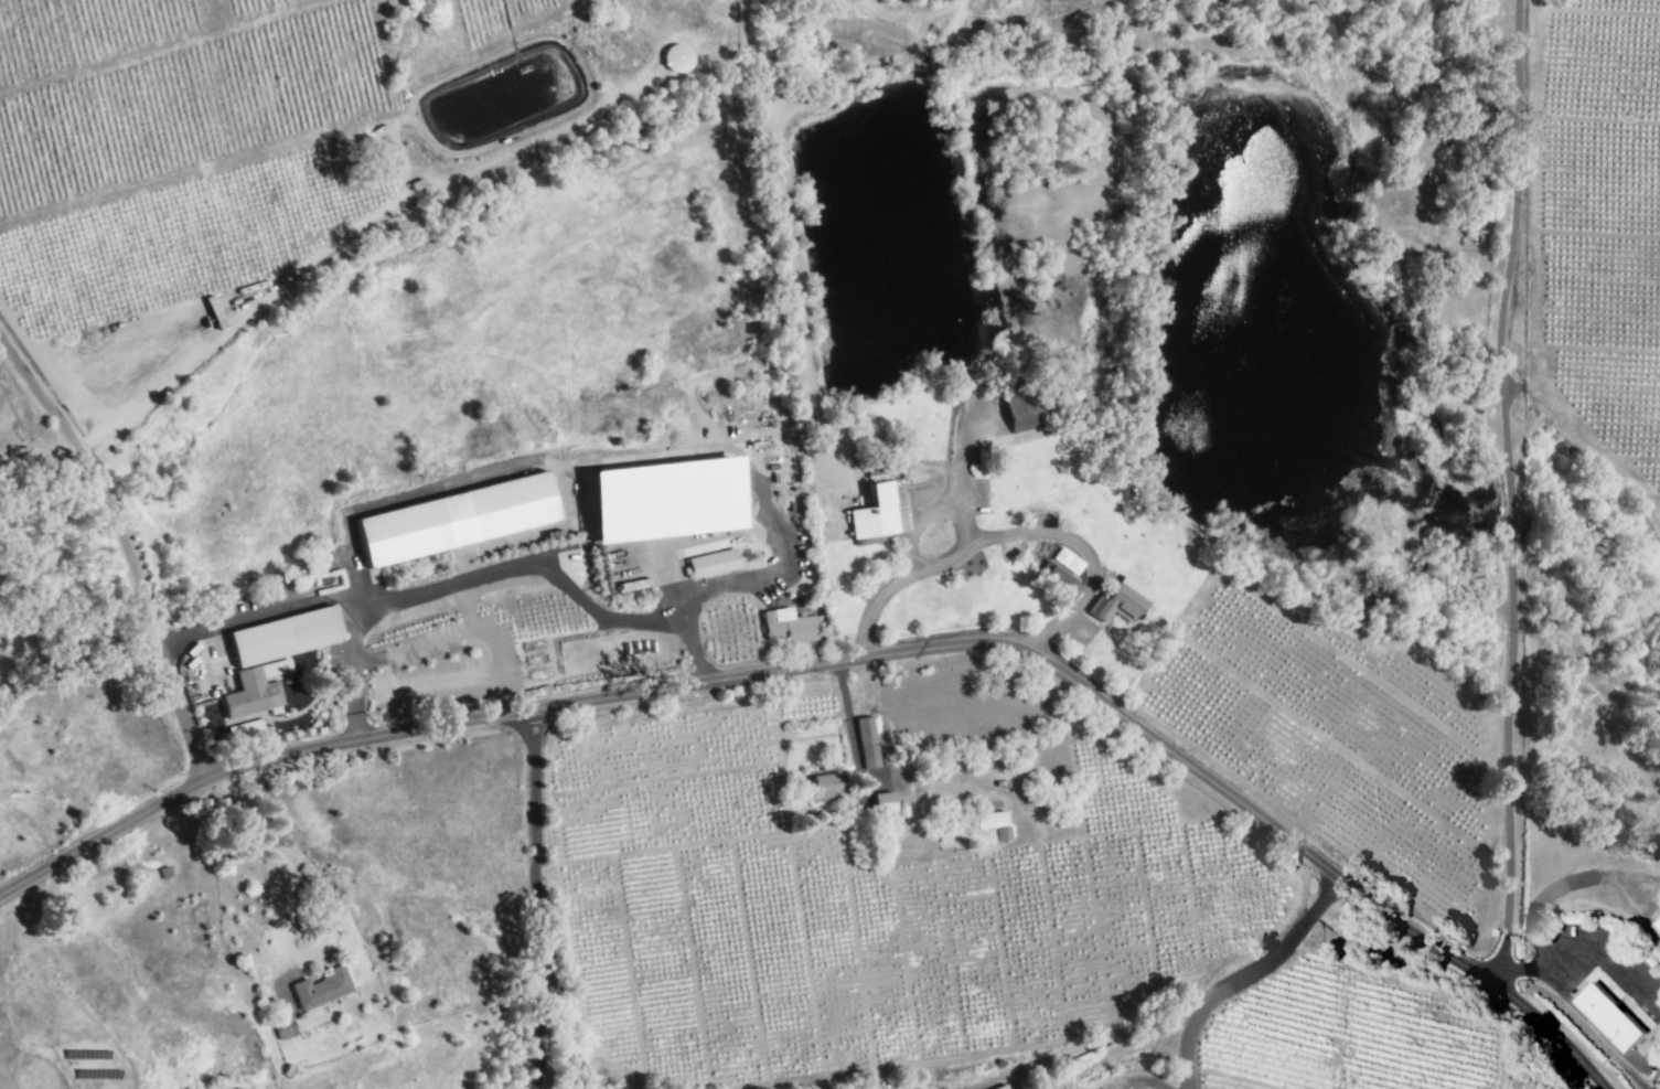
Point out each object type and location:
building: (1022, 409)
road: (1507, 487)
building: (665, 498)
road: (396, 501)
building: (874, 513)
building: (454, 519)
road: (125, 549)
building: (711, 563)
road: (780, 572)
building: (1062, 573)
road: (459, 577)
building: (1120, 601)
road: (465, 608)
building: (788, 626)
building: (282, 636)
road: (850, 656)
road: (325, 665)
building: (275, 668)
road: (350, 668)
road: (361, 669)
road: (474, 680)
building: (250, 694)
road: (279, 698)
road: (235, 720)
road: (849, 722)
building: (244, 729)
building: (866, 743)
building: (822, 783)
building: (883, 808)
building: (989, 820)
road: (278, 850)
road: (1571, 884)
road: (536, 898)
building: (1657, 926)
road: (1582, 953)
road: (1250, 970)
building: (319, 991)
building: (1610, 1017)
building: (283, 1031)
road: (1100, 1042)
building: (1093, 1086)
building: (1000, 1087)
building: (1104, 1088)

